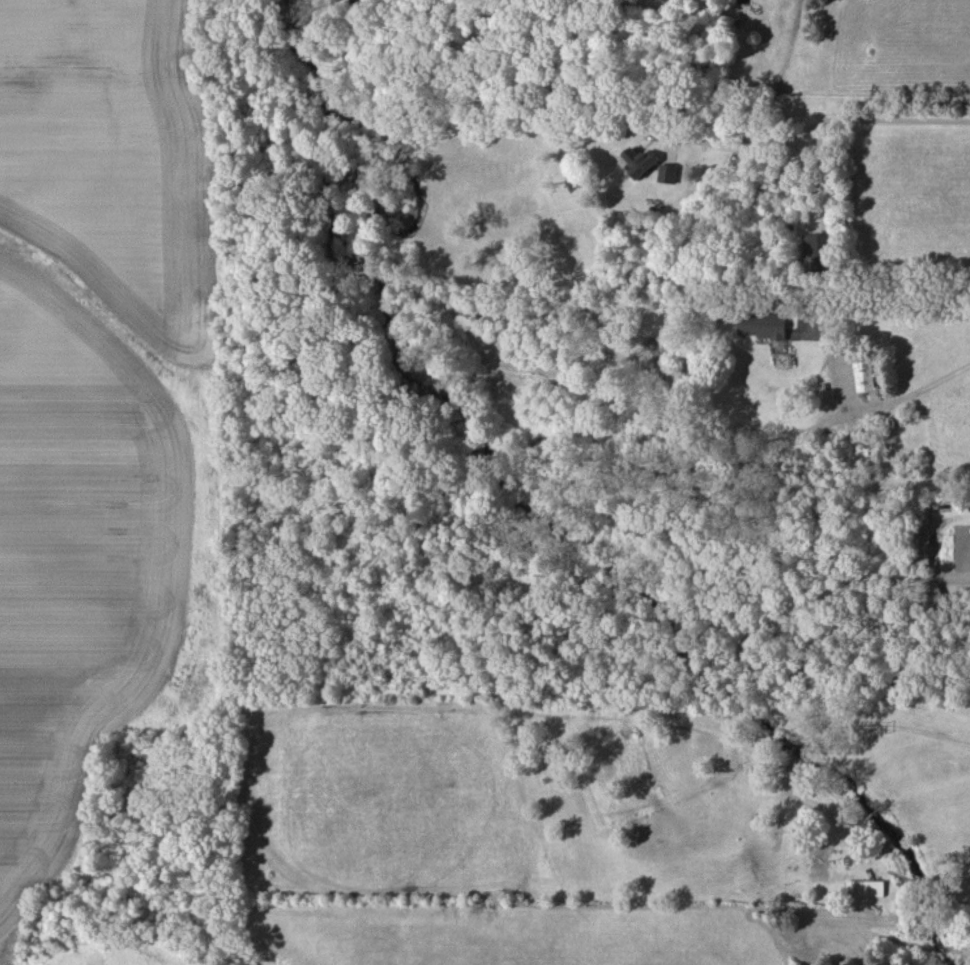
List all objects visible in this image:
road: (816, 125)
building: (639, 162)
building: (667, 173)
building: (816, 252)
road: (891, 306)
building: (761, 325)
building: (920, 537)
building: (864, 888)

